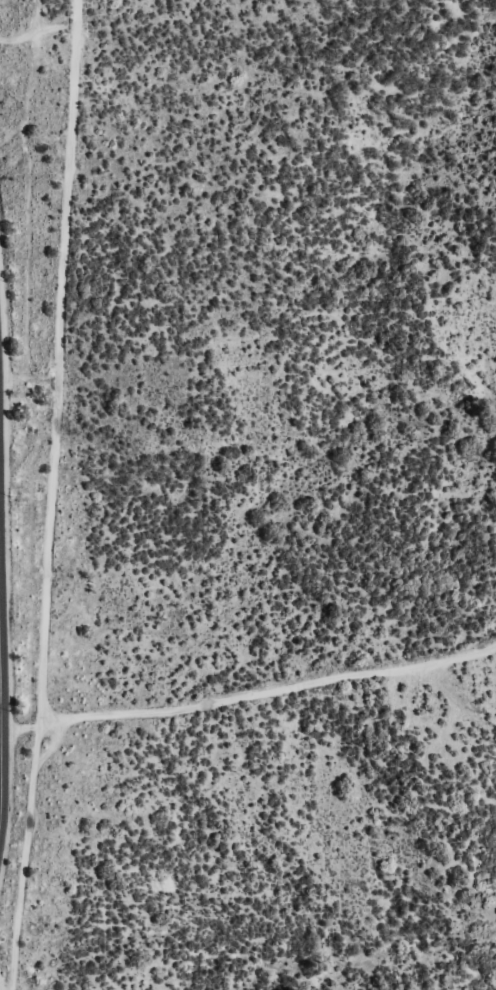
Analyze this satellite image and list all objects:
road: (5, 723)

